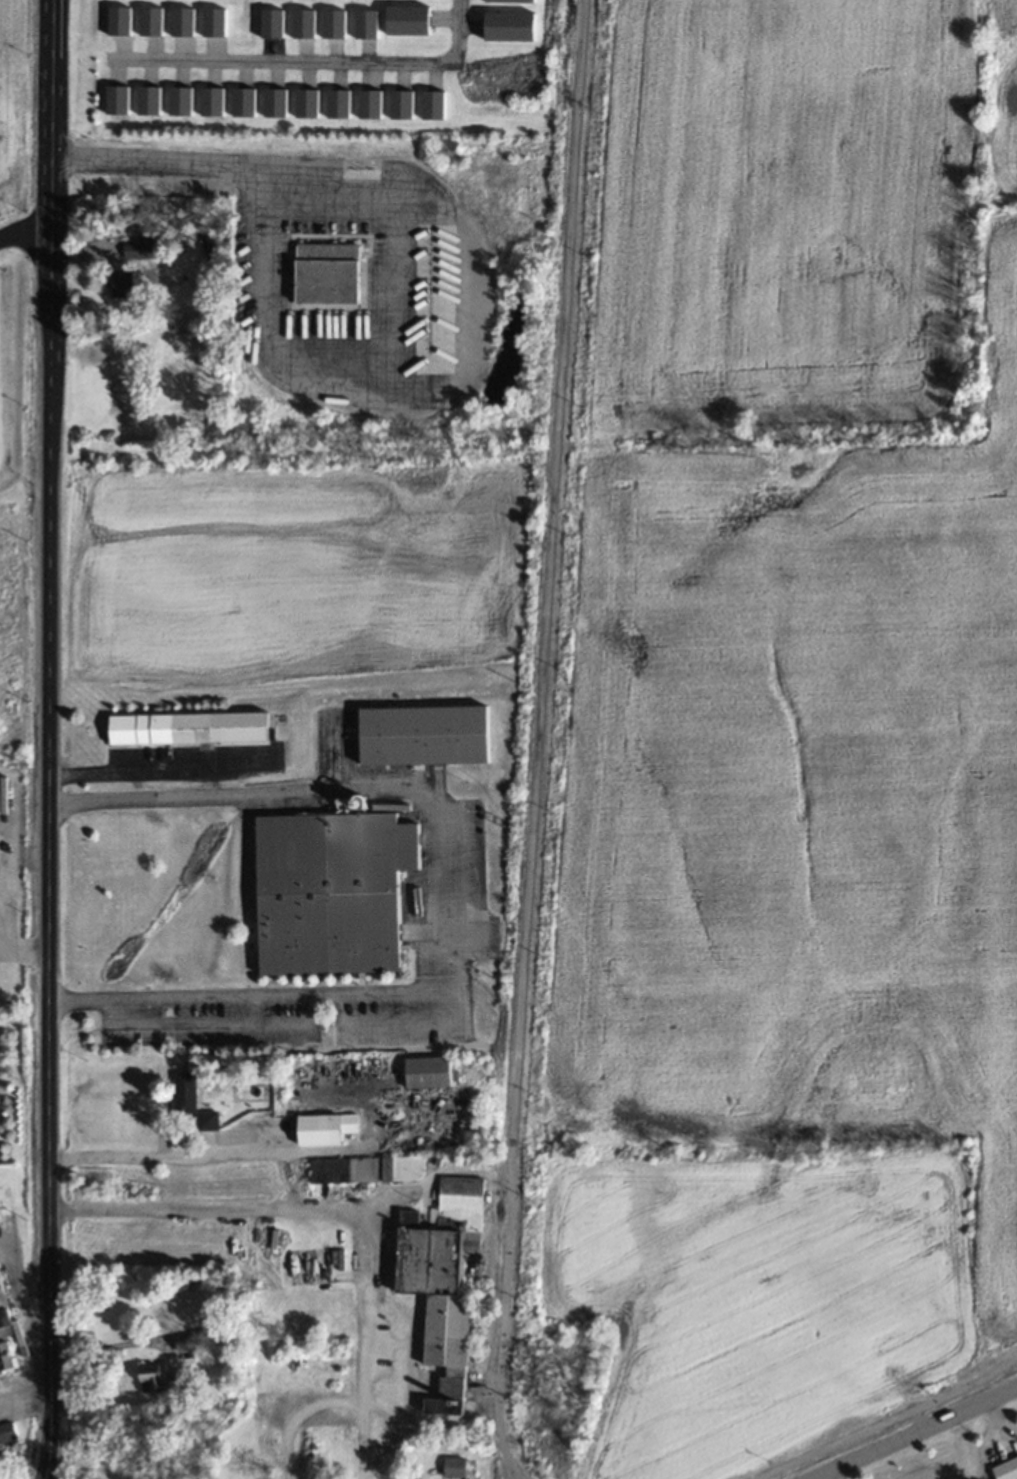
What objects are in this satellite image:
building: (508, 1)
building: (118, 20)
building: (406, 20)
building: (149, 21)
building: (181, 21)
building: (212, 21)
building: (270, 23)
building: (302, 23)
building: (332, 24)
building: (365, 24)
building: (508, 26)
road: (307, 59)
building: (115, 99)
building: (147, 99)
building: (179, 100)
building: (210, 101)
building: (242, 102)
building: (274, 102)
building: (305, 103)
building: (337, 103)
building: (368, 104)
building: (400, 104)
building: (431, 105)
road: (24, 231)
building: (138, 247)
road: (393, 257)
building: (325, 273)
building: (121, 285)
crop: (18, 516)
crop: (285, 571)
building: (186, 728)
building: (422, 735)
road: (535, 736)
road: (45, 739)
crop: (786, 752)
building: (330, 892)
road: (436, 898)
road: (5, 934)
road: (5, 950)
road: (29, 954)
road: (407, 1020)
road: (213, 1025)
building: (427, 1072)
building: (191, 1101)
building: (326, 1129)
road: (161, 1154)
building: (402, 1168)
road: (330, 1217)
building: (441, 1281)
road: (104, 1345)
building: (184, 1345)
building: (5, 1346)
road: (24, 1384)
road: (912, 1419)
road: (889, 1420)
road: (907, 1430)
building: (6, 1433)
building: (453, 1468)
building: (1006, 1469)
road: (509, 1474)

